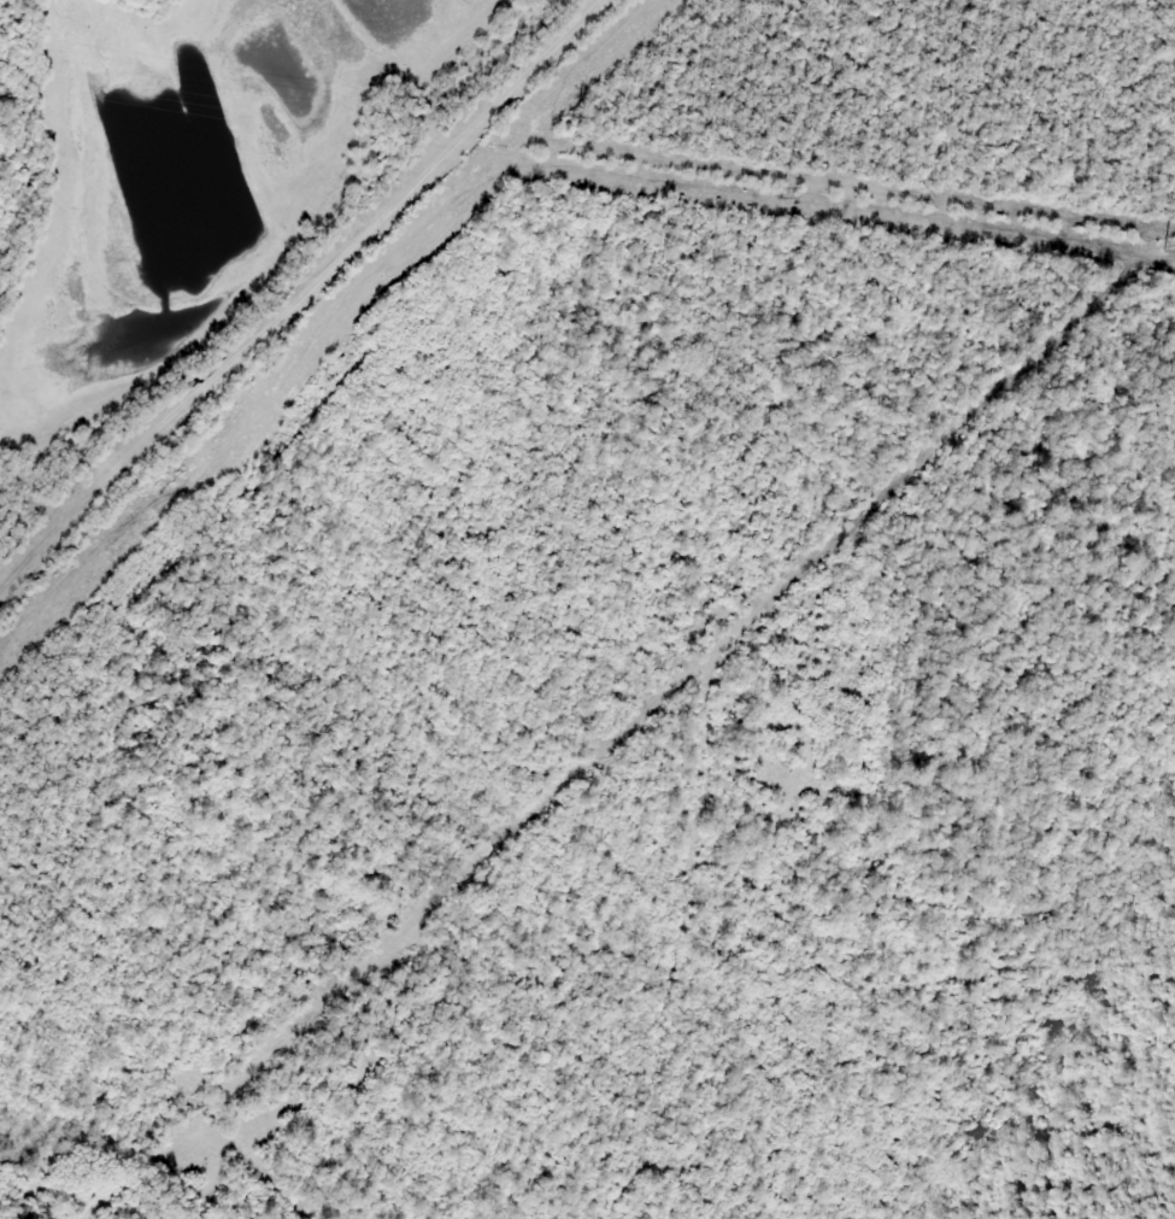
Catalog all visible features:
power tower: (394, 133)
power tower: (781, 191)
power tower: (1162, 244)

